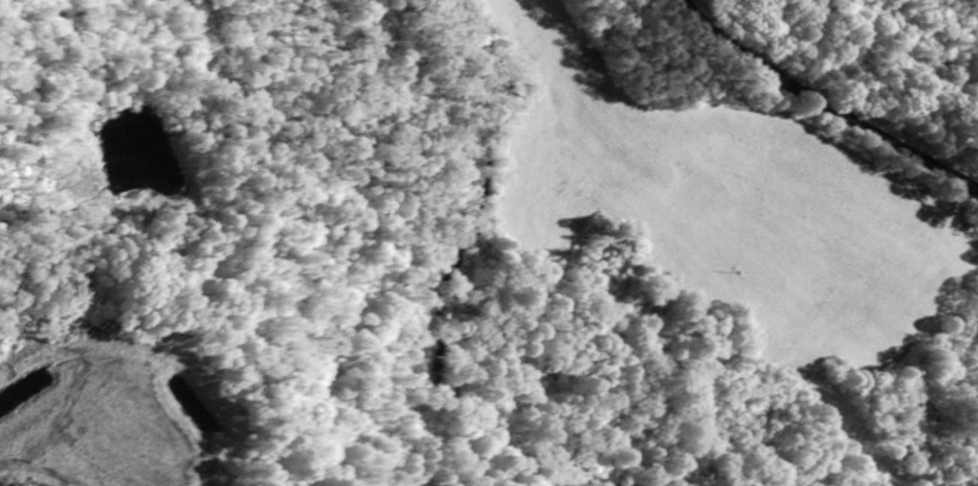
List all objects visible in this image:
road: (821, 101)

